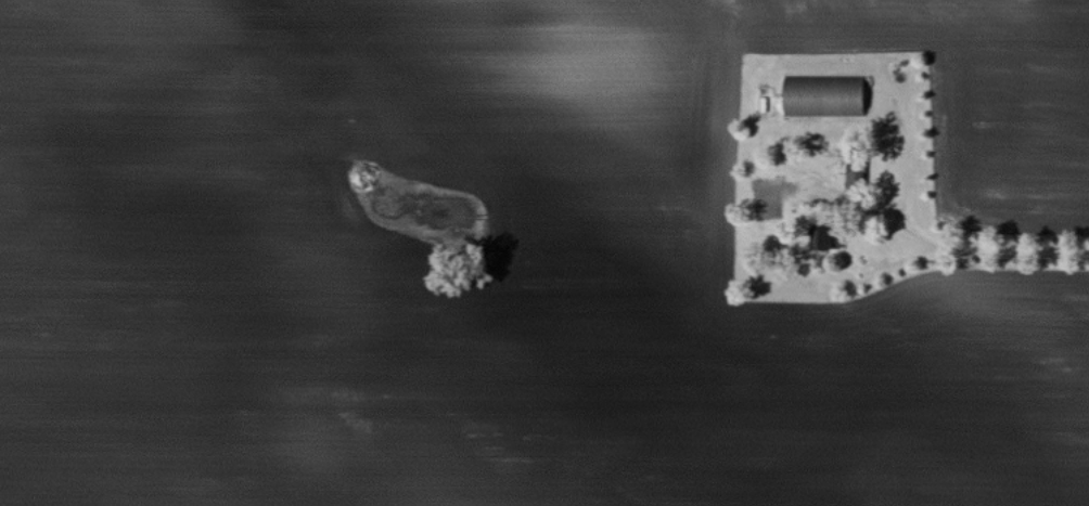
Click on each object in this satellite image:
road: (950, 243)

